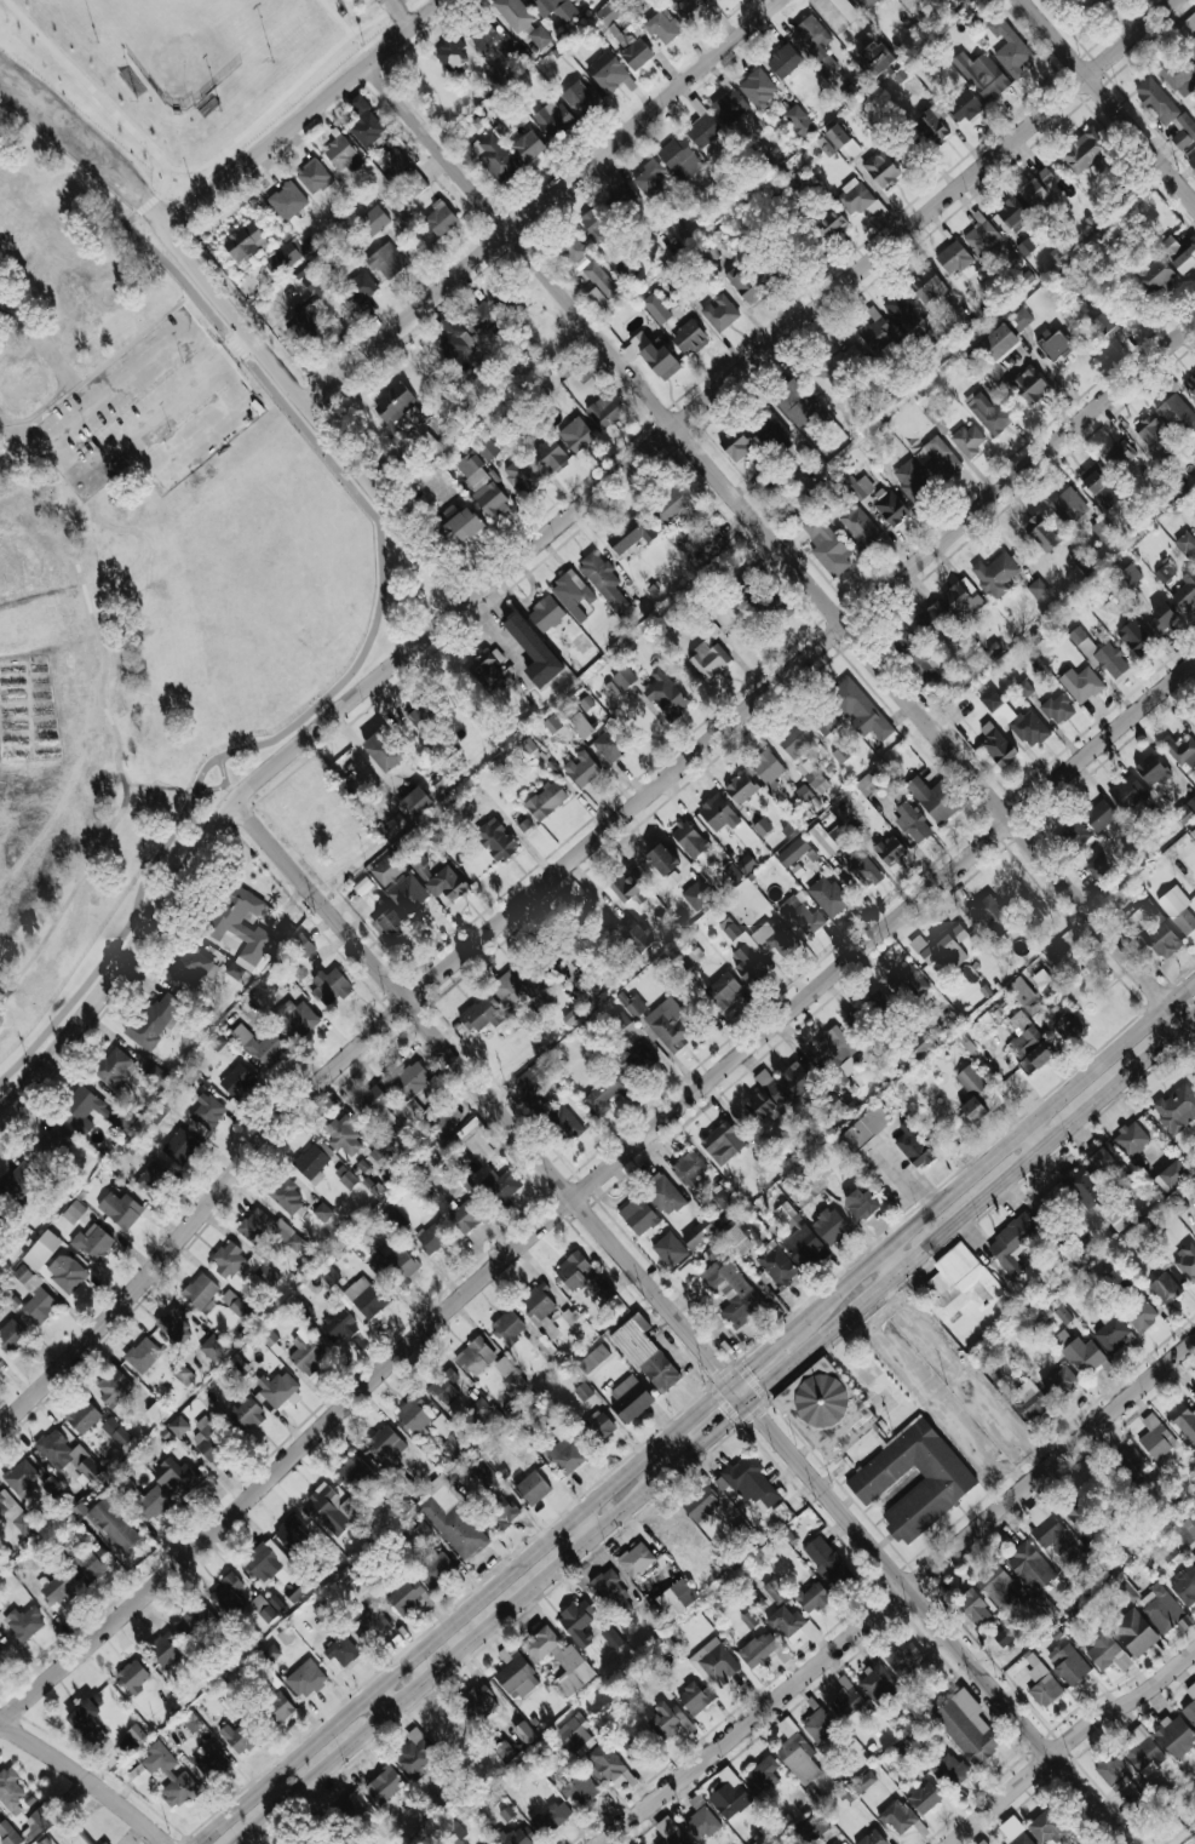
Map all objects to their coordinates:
building: (716, 0)
building: (1105, 0)
building: (818, 1)
building: (964, 2)
building: (864, 4)
building: (553, 8)
building: (690, 10)
building: (513, 13)
building: (608, 13)
building: (840, 13)
road: (401, 15)
road: (335, 16)
building: (663, 27)
building: (1188, 30)
building: (481, 34)
building: (539, 38)
building: (814, 40)
building: (1009, 47)
building: (507, 52)
building: (634, 52)
building: (450, 55)
building: (785, 59)
building: (874, 59)
building: (607, 71)
road: (306, 74)
building: (982, 75)
building: (1178, 75)
park: (170, 80)
road: (84, 82)
building: (757, 87)
building: (581, 97)
building: (1156, 101)
road: (1108, 102)
building: (964, 107)
building: (730, 108)
road: (308, 118)
building: (551, 118)
building: (797, 121)
building: (366, 125)
building: (932, 125)
building: (1183, 132)
building: (706, 134)
building: (841, 142)
building: (528, 147)
road: (88, 149)
building: (826, 149)
building: (1084, 151)
building: (901, 153)
building: (343, 155)
building: (496, 159)
building: (679, 159)
building: (393, 160)
building: (1193, 161)
road: (191, 168)
building: (880, 168)
building: (314, 177)
building: (649, 178)
building: (414, 183)
building: (619, 188)
road: (161, 189)
building: (1041, 190)
building: (854, 197)
building: (287, 201)
road: (542, 201)
building: (1012, 213)
building: (439, 218)
building: (373, 221)
building: (829, 224)
building: (593, 227)
building: (981, 237)
building: (245, 242)
building: (1024, 247)
building: (570, 251)
building: (1178, 253)
building: (953, 258)
building: (276, 260)
building: (386, 262)
building: (769, 270)
building: (1156, 275)
building: (599, 280)
building: (743, 284)
building: (926, 286)
building: (360, 287)
building: (504, 294)
building: (597, 299)
building: (656, 309)
building: (901, 311)
building: (720, 313)
building: (479, 319)
building: (1021, 319)
building: (1104, 325)
building: (875, 331)
building: (453, 337)
building: (689, 338)
building: (1055, 345)
building: (994, 350)
building: (651, 356)
road: (212, 361)
building: (839, 368)
road: (67, 377)
building: (1190, 384)
building: (1029, 385)
building: (795, 403)
building: (392, 406)
parking lot: (148, 407)
building: (605, 410)
building: (988, 412)
building: (1177, 416)
road: (315, 418)
building: (770, 431)
building: (1149, 433)
building: (576, 435)
road: (126, 440)
building: (969, 440)
building: (735, 445)
building: (486, 447)
building: (1119, 454)
building: (551, 456)
building: (940, 459)
building: (522, 475)
building: (200, 476)
building: (912, 481)
building: (1097, 485)
building: (483, 488)
building: (676, 504)
building: (1068, 506)
building: (890, 508)
building: (858, 525)
road: (557, 526)
building: (463, 527)
building: (1041, 533)
building: (630, 534)
building: (1187, 543)
building: (711, 544)
building: (827, 546)
road: (781, 551)
building: (1164, 573)
building: (995, 574)
building: (1127, 577)
building: (604, 582)
building: (1036, 588)
building: (758, 591)
building: (1185, 592)
building: (574, 595)
building: (1098, 596)
building: (963, 599)
building: (546, 614)
building: (1161, 619)
building: (935, 622)
building: (1134, 637)
building: (903, 642)
building: (534, 652)
building: (1099, 654)
building: (707, 659)
building: (926, 668)
building: (487, 669)
building: (624, 678)
building: (1081, 685)
building: (611, 689)
building: (666, 695)
building: (586, 703)
building: (1057, 709)
building: (860, 710)
building: (1015, 718)
building: (580, 726)
building: (794, 741)
building: (610, 744)
building: (996, 745)
building: (383, 750)
building: (1180, 750)
building: (840, 755)
road: (364, 757)
building: (581, 768)
building: (766, 768)
building: (1151, 771)
building: (812, 777)
building: (868, 783)
building: (741, 789)
building: (1127, 792)
building: (803, 795)
building: (932, 800)
building: (416, 801)
building: (545, 801)
building: (1187, 812)
building: (718, 814)
building: (1099, 817)
building: (396, 823)
building: (827, 823)
building: (912, 823)
building: (524, 825)
building: (762, 826)
building: (1075, 834)
building: (1193, 834)
building: (495, 840)
building: (689, 840)
building: (890, 851)
building: (793, 852)
building: (844, 852)
road: (576, 855)
building: (663, 863)
building: (743, 865)
building: (1097, 867)
building: (438, 878)
building: (400, 883)
building: (362, 886)
building: (626, 887)
building: (696, 894)
building: (827, 895)
building: (1178, 909)
building: (802, 914)
building: (993, 917)
building: (390, 926)
building: (242, 928)
building: (1153, 929)
building: (638, 938)
building: (775, 939)
building: (917, 944)
building: (303, 946)
building: (946, 946)
building: (743, 951)
building: (191, 967)
building: (907, 983)
building: (328, 985)
building: (723, 989)
building: (522, 990)
building: (1027, 1000)
building: (879, 1001)
building: (634, 1006)
building: (482, 1014)
building: (299, 1018)
building: (154, 1020)
building: (670, 1025)
building: (1069, 1026)
building: (632, 1031)
building: (259, 1044)
building: (1028, 1044)
building: (834, 1047)
building: (639, 1059)
building: (114, 1069)
building: (155, 1075)
building: (798, 1080)
building: (237, 1082)
building: (410, 1084)
building: (534, 1089)
road: (484, 1090)
building: (605, 1094)
building: (972, 1095)
building: (765, 1096)
building: (373, 1107)
building: (1177, 1107)
building: (207, 1111)
building: (85, 1112)
building: (443, 1119)
building: (565, 1124)
building: (864, 1128)
building: (343, 1135)
road: (1033, 1138)
building: (57, 1139)
building: (1131, 1140)
building: (722, 1144)
building: (180, 1145)
building: (913, 1149)
road: (995, 1155)
building: (1101, 1159)
building: (314, 1162)
building: (688, 1169)
building: (489, 1172)
building: (1170, 1176)
building: (345, 1178)
building: (153, 1179)
road: (590, 1185)
building: (18, 1186)
building: (818, 1186)
building: (1082, 1187)
building: (286, 1196)
building: (663, 1196)
building: (860, 1204)
building: (1178, 1206)
road: (972, 1208)
building: (120, 1209)
building: (1, 1212)
building: (74, 1212)
building: (322, 1212)
building: (783, 1212)
building: (395, 1216)
building: (638, 1216)
building: (466, 1218)
building: (1118, 1221)
building: (831, 1226)
building: (269, 1230)
building: (694, 1236)
building: (436, 1237)
building: (737, 1238)
building: (93, 1242)
building: (1012, 1244)
building: (804, 1247)
building: (670, 1250)
road: (894, 1259)
building: (1185, 1261)
building: (54, 1265)
building: (242, 1265)
building: (776, 1265)
building: (403, 1270)
building: (573, 1271)
building: (329, 1277)
building: (960, 1283)
building: (1165, 1288)
building: (601, 1289)
building: (200, 1292)
building: (724, 1292)
building: (34, 1295)
building: (367, 1298)
building: (237, 1306)
building: (539, 1306)
building: (1139, 1312)
building: (340, 1325)
road: (918, 1325)
building: (174, 1327)
building: (509, 1327)
building: (1113, 1335)
building: (11, 1336)
road: (883, 1345)
building: (212, 1347)
building: (305, 1353)
building: (142, 1355)
building: (645, 1355)
road: (763, 1355)
building: (1081, 1355)
building: (475, 1357)
building: (502, 1367)
traffic signals: (731, 1382)
building: (1058, 1382)
building: (444, 1386)
building: (113, 1387)
building: (582, 1391)
building: (277, 1393)
road: (741, 1393)
building: (1193, 1396)
building: (630, 1398)
building: (1029, 1401)
traffic signals: (751, 1404)
building: (478, 1410)
building: (825, 1410)
building: (156, 1413)
building: (247, 1414)
building: (413, 1415)
road: (1002, 1415)
building: (82, 1416)
building: (1184, 1421)
building: (178, 1426)
building: (597, 1427)
building: (115, 1431)
building: (448, 1436)
building: (1155, 1437)
road: (708, 1441)
road: (971, 1441)
building: (209, 1443)
building: (386, 1443)
building: (67, 1453)
building: (568, 1454)
building: (1133, 1465)
building: (354, 1473)
building: (21, 1477)
building: (174, 1477)
building: (948, 1479)
building: (748, 1483)
building: (532, 1488)
building: (700, 1504)
building: (331, 1510)
building: (1078, 1512)
building: (500, 1513)
building: (16, 1517)
building: (450, 1518)
building: (114, 1524)
road: (585, 1527)
building: (1187, 1529)
building: (291, 1534)
building: (1164, 1553)
building: (636, 1559)
building: (1194, 1559)
building: (826, 1562)
building: (91, 1564)
building: (435, 1565)
building: (1030, 1567)
building: (272, 1568)
building: (1184, 1585)
building: (996, 1587)
building: (58, 1590)
building: (226, 1592)
building: (774, 1592)
building: (1128, 1592)
building: (613, 1593)
road: (900, 1594)
building: (408, 1597)
building: (676, 1598)
building: (812, 1598)
building: (0, 1605)
building: (972, 1608)
building: (1038, 1608)
building: (263, 1609)
building: (1162, 1609)
building: (321, 1613)
road: (463, 1613)
building: (748, 1620)
building: (199, 1621)
building: (786, 1621)
building: (369, 1622)
building: (578, 1622)
building: (23, 1623)
road: (935, 1625)
building: (1133, 1632)
building: (1004, 1634)
building: (611, 1638)
building: (2, 1648)
building: (758, 1649)
building: (165, 1650)
building: (341, 1650)
building: (1105, 1651)
building: (904, 1659)
road: (453, 1660)
building: (561, 1661)
building: (714, 1663)
building: (1070, 1666)
building: (132, 1677)
building: (516, 1677)
building: (306, 1679)
building: (1041, 1682)
building: (878, 1684)
building: (695, 1699)
road: (384, 1701)
building: (845, 1701)
building: (479, 1702)
building: (1190, 1705)
building: (278, 1708)
building: (666, 1720)
building: (86, 1722)
building: (818, 1725)
building: (966, 1726)
building: (524, 1733)
building: (574, 1735)
building: (136, 1736)
building: (1176, 1736)
building: (240, 1739)
road: (1069, 1742)
building: (634, 1748)
building: (1143, 1752)
building: (414, 1753)
building: (797, 1754)
building: (209, 1762)
building: (607, 1765)
building: (1110, 1769)
building: (949, 1771)
building: (166, 1775)
building: (762, 1776)
road: (86, 1780)
building: (863, 1782)
building: (384, 1785)
building: (1122, 1787)
building: (10, 1788)
building: (580, 1789)
building: (728, 1794)
building: (924, 1798)
building: (351, 1808)
building: (897, 1817)
building: (551, 1819)
building: (38, 1822)
building: (701, 1823)
building: (812, 1827)
building: (1046, 1827)
building: (670, 1832)
building: (1012, 1832)
building: (8, 1834)
building: (455, 1834)
building: (873, 1838)
building: (983, 1842)
building: (104, 1843)
building: (781, 1843)

